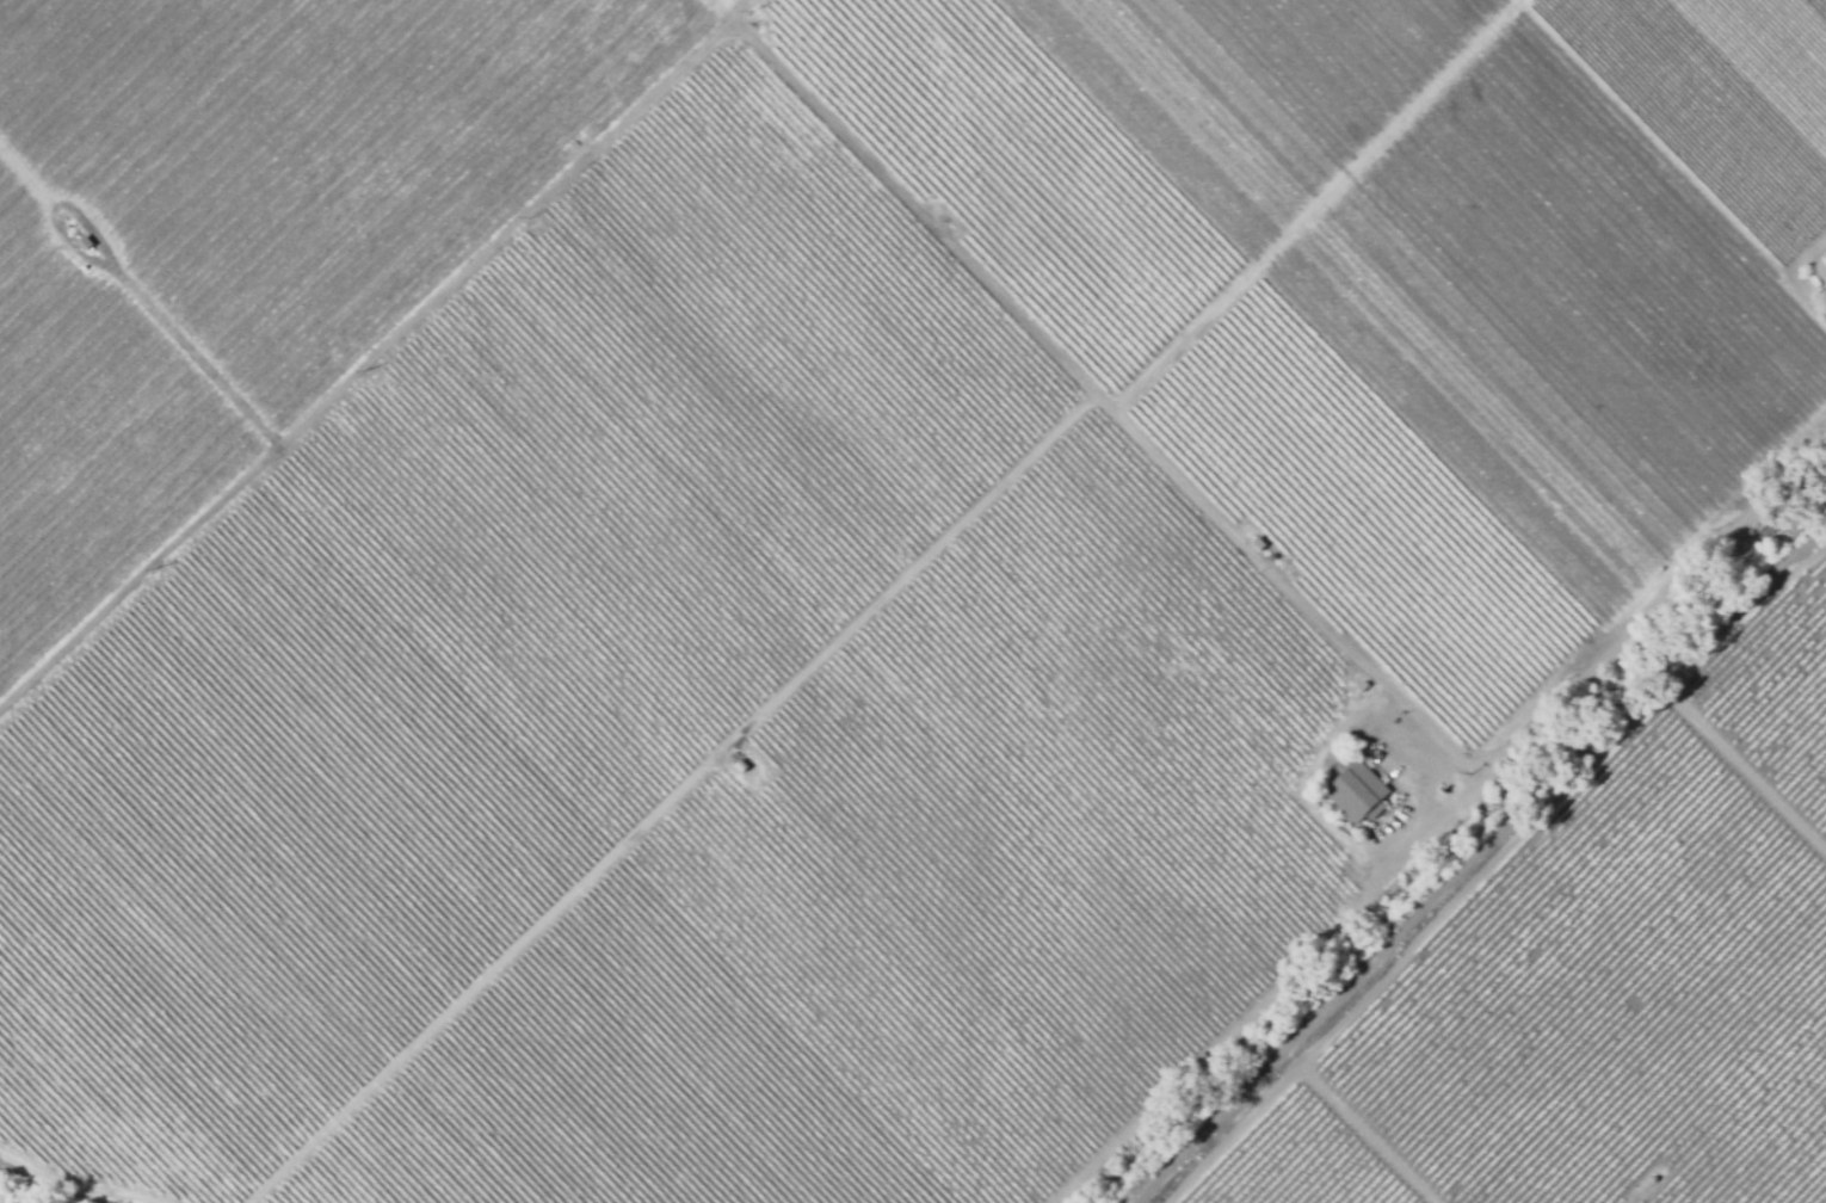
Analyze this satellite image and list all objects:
building: (90, 241)
building: (1816, 276)
building: (1768, 530)
building: (1257, 545)
building: (1614, 549)
road: (1542, 709)
building: (742, 764)
building: (1357, 795)

